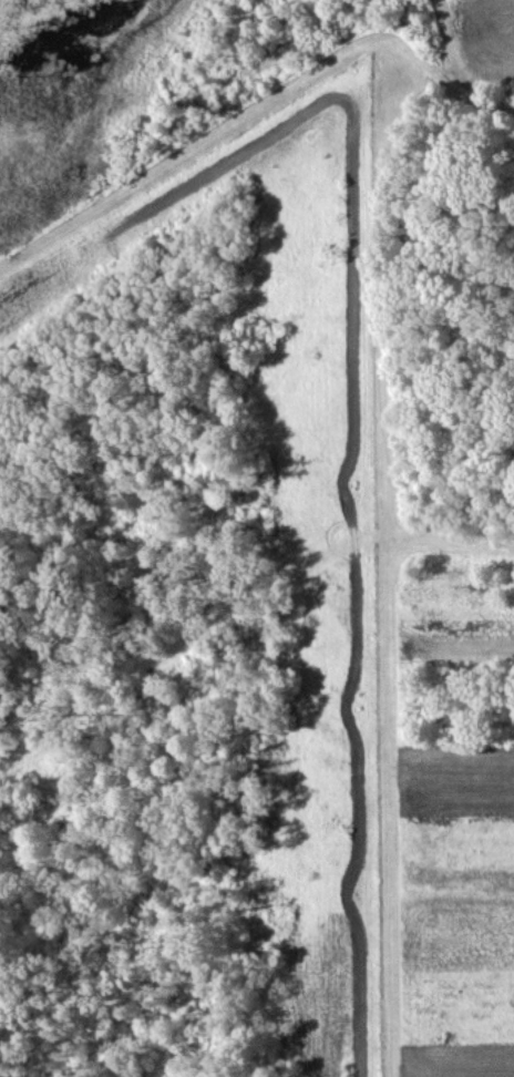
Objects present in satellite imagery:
road: (63, 661)

